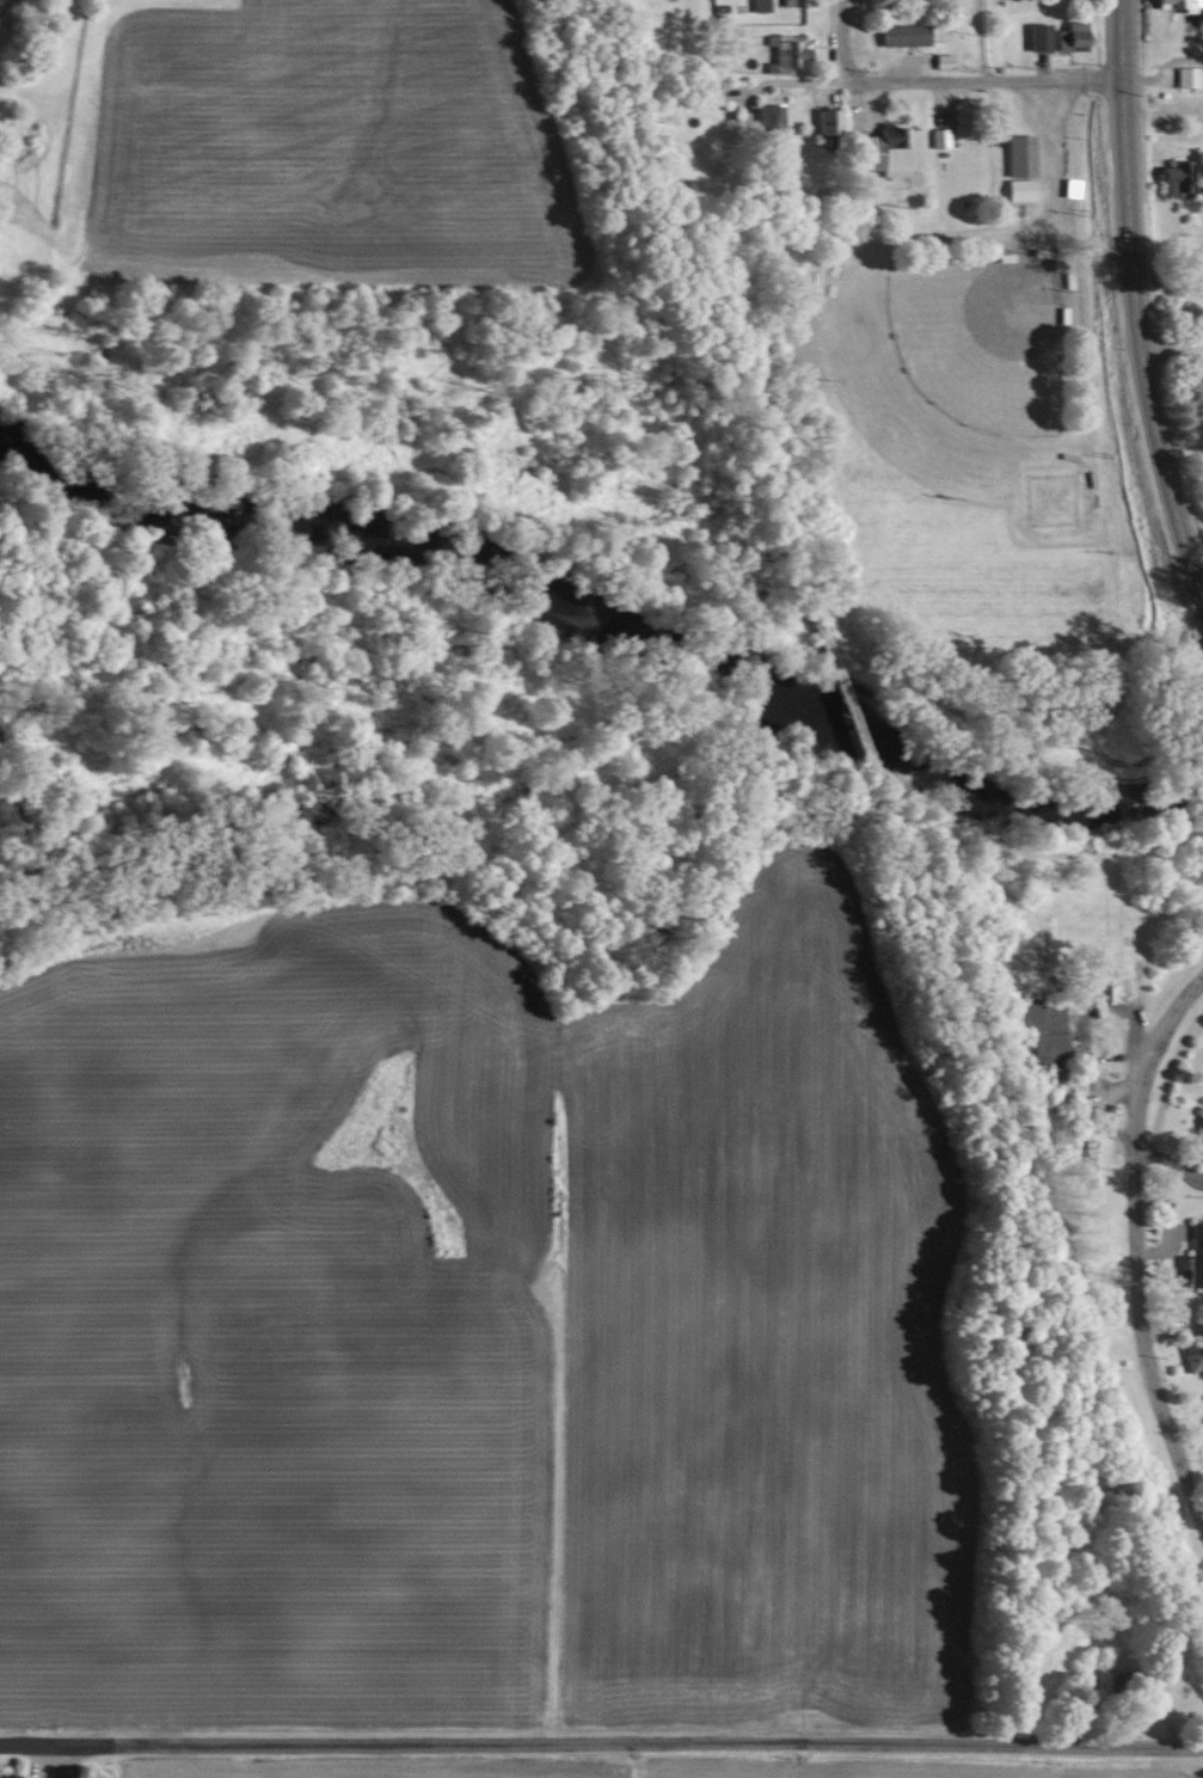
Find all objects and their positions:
building: (1179, 4)
building: (754, 5)
building: (896, 33)
building: (1033, 35)
building: (1067, 35)
road: (980, 39)
road: (835, 43)
building: (781, 51)
building: (939, 60)
building: (1181, 75)
road: (987, 79)
road: (803, 85)
building: (955, 98)
building: (767, 116)
building: (822, 119)
building: (935, 136)
building: (1014, 154)
road: (1054, 177)
building: (1171, 177)
building: (1068, 186)
road: (1122, 186)
building: (1014, 188)
road: (1167, 347)
road: (1165, 498)
building: (1131, 967)
building: (1042, 1030)
building: (1198, 1135)
building: (1080, 1160)
road: (1131, 1253)
building: (1186, 1271)
building: (1190, 1355)
road: (601, 1742)

